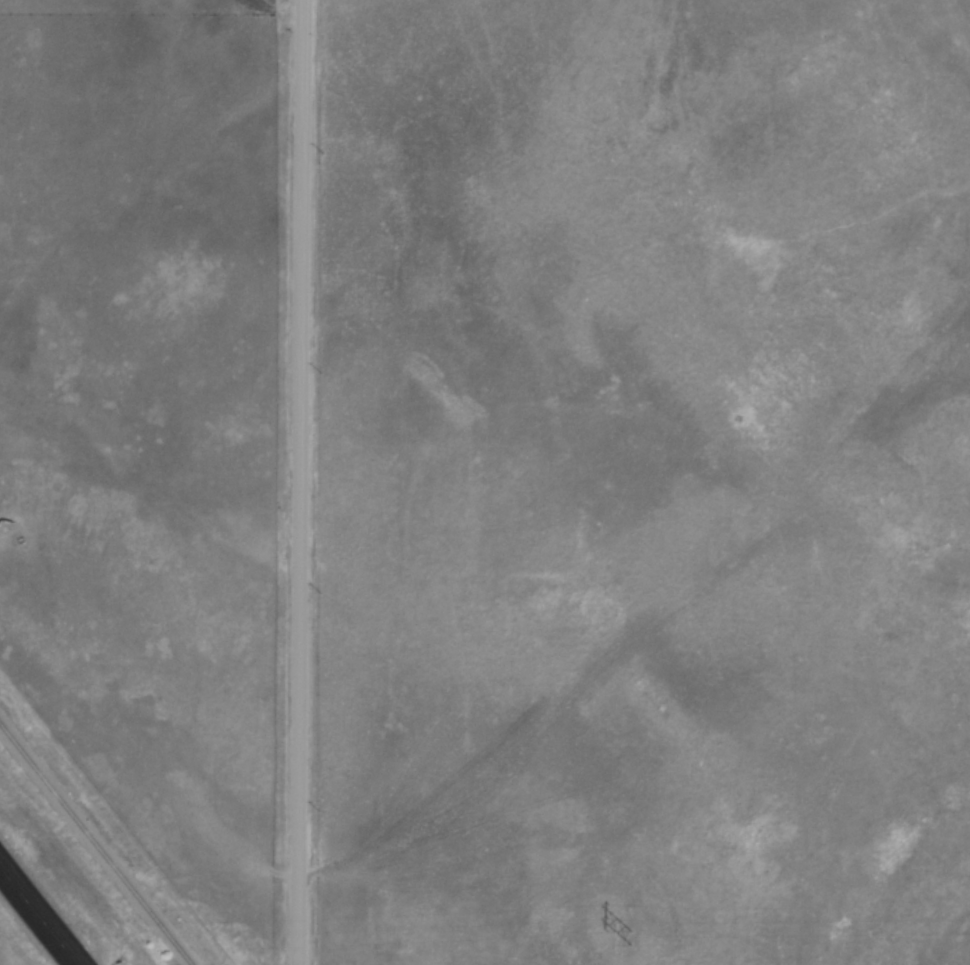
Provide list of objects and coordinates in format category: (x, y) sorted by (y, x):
road: (299, 482)
railway: (95, 844)
road: (36, 919)
power tower: (626, 937)

